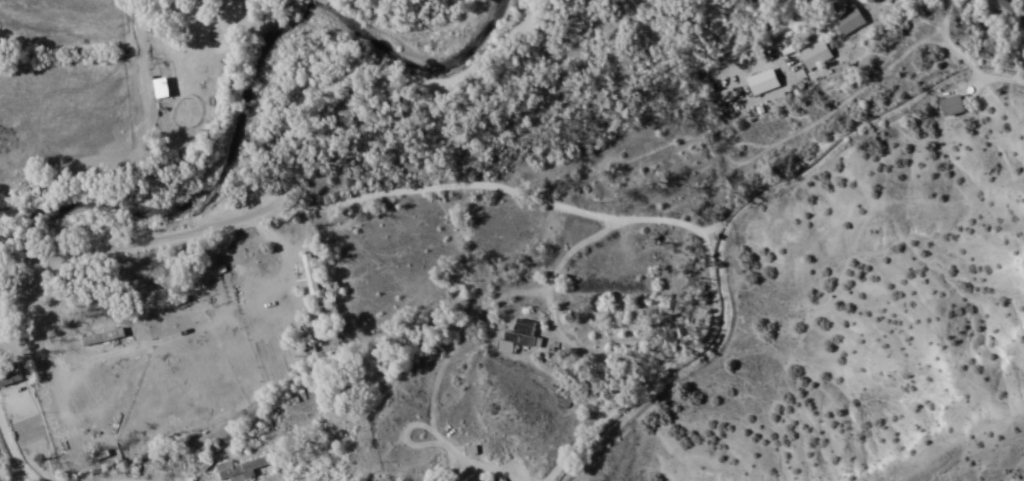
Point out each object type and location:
building: (1000, 6)
building: (849, 19)
building: (816, 52)
river: (245, 69)
building: (763, 80)
building: (163, 85)
building: (954, 103)
road: (304, 149)
road: (655, 215)
building: (310, 271)
building: (518, 334)
building: (10, 372)
building: (471, 448)
road: (15, 455)
road: (484, 461)

